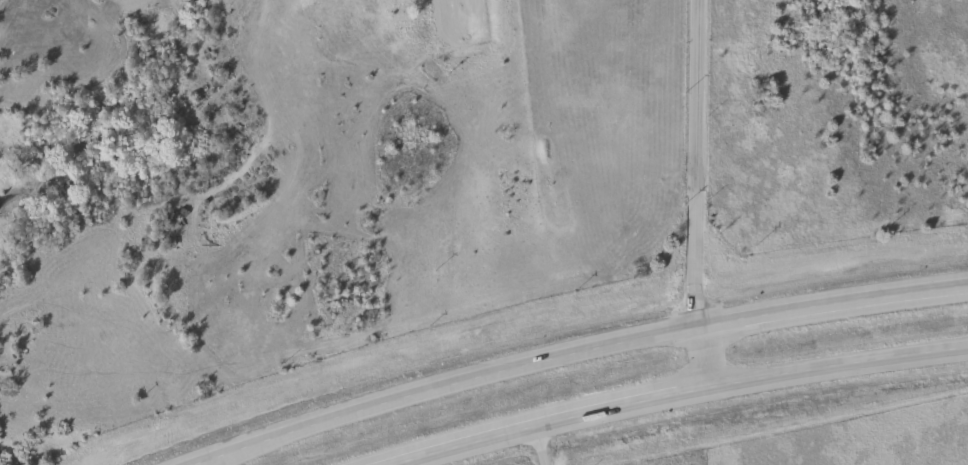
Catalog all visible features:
road: (696, 195)
road: (586, 349)
road: (677, 392)
road: (515, 418)

